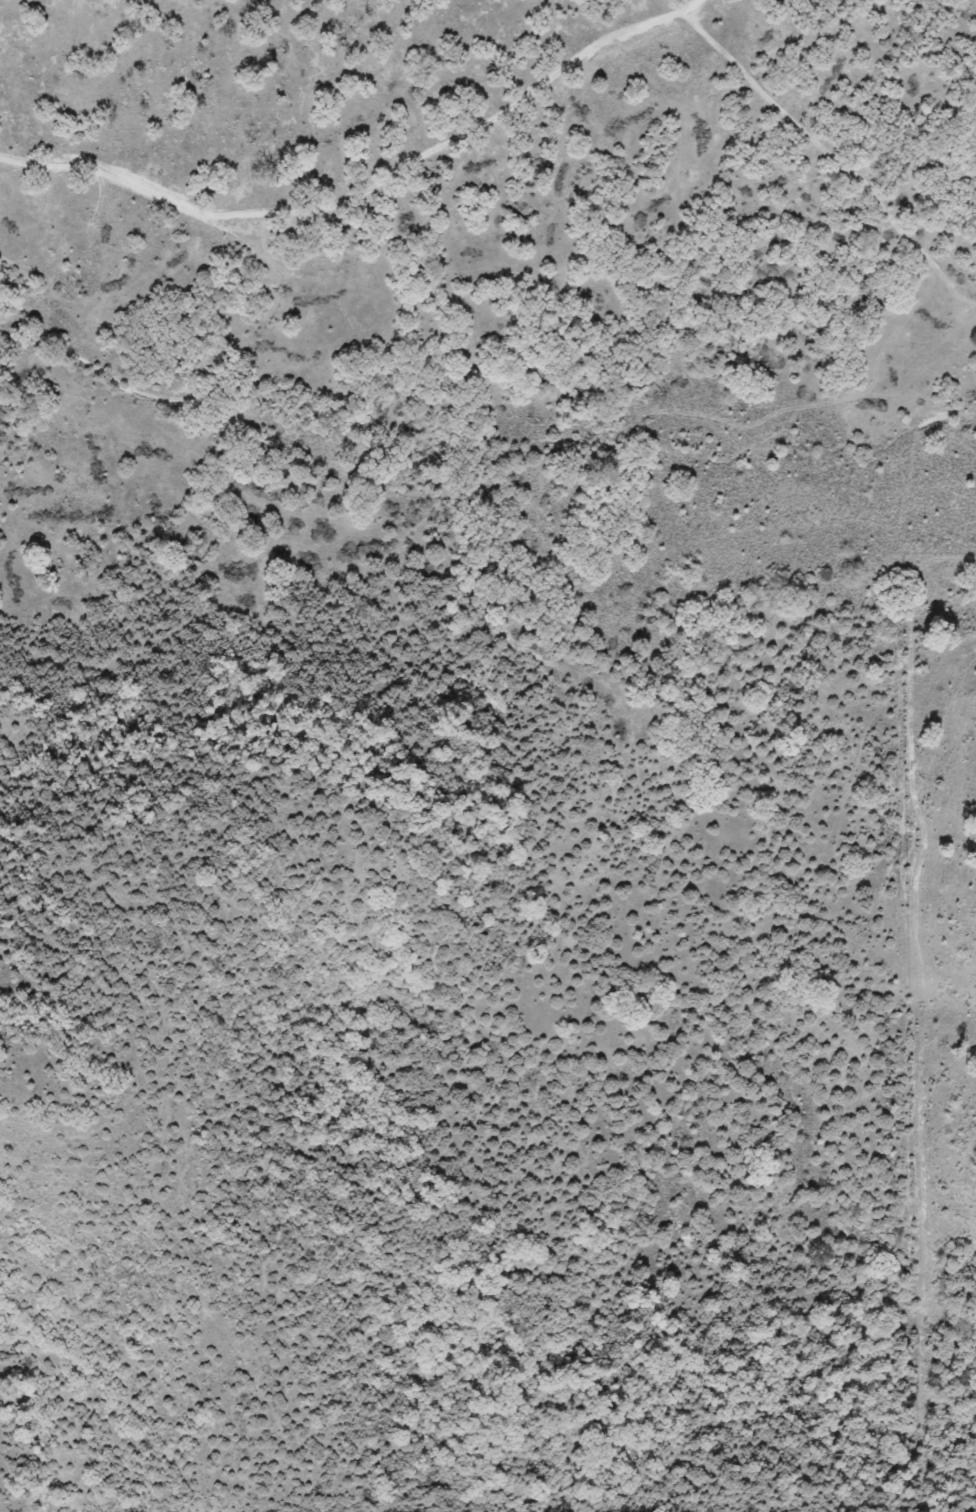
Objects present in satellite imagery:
road: (371, 185)

